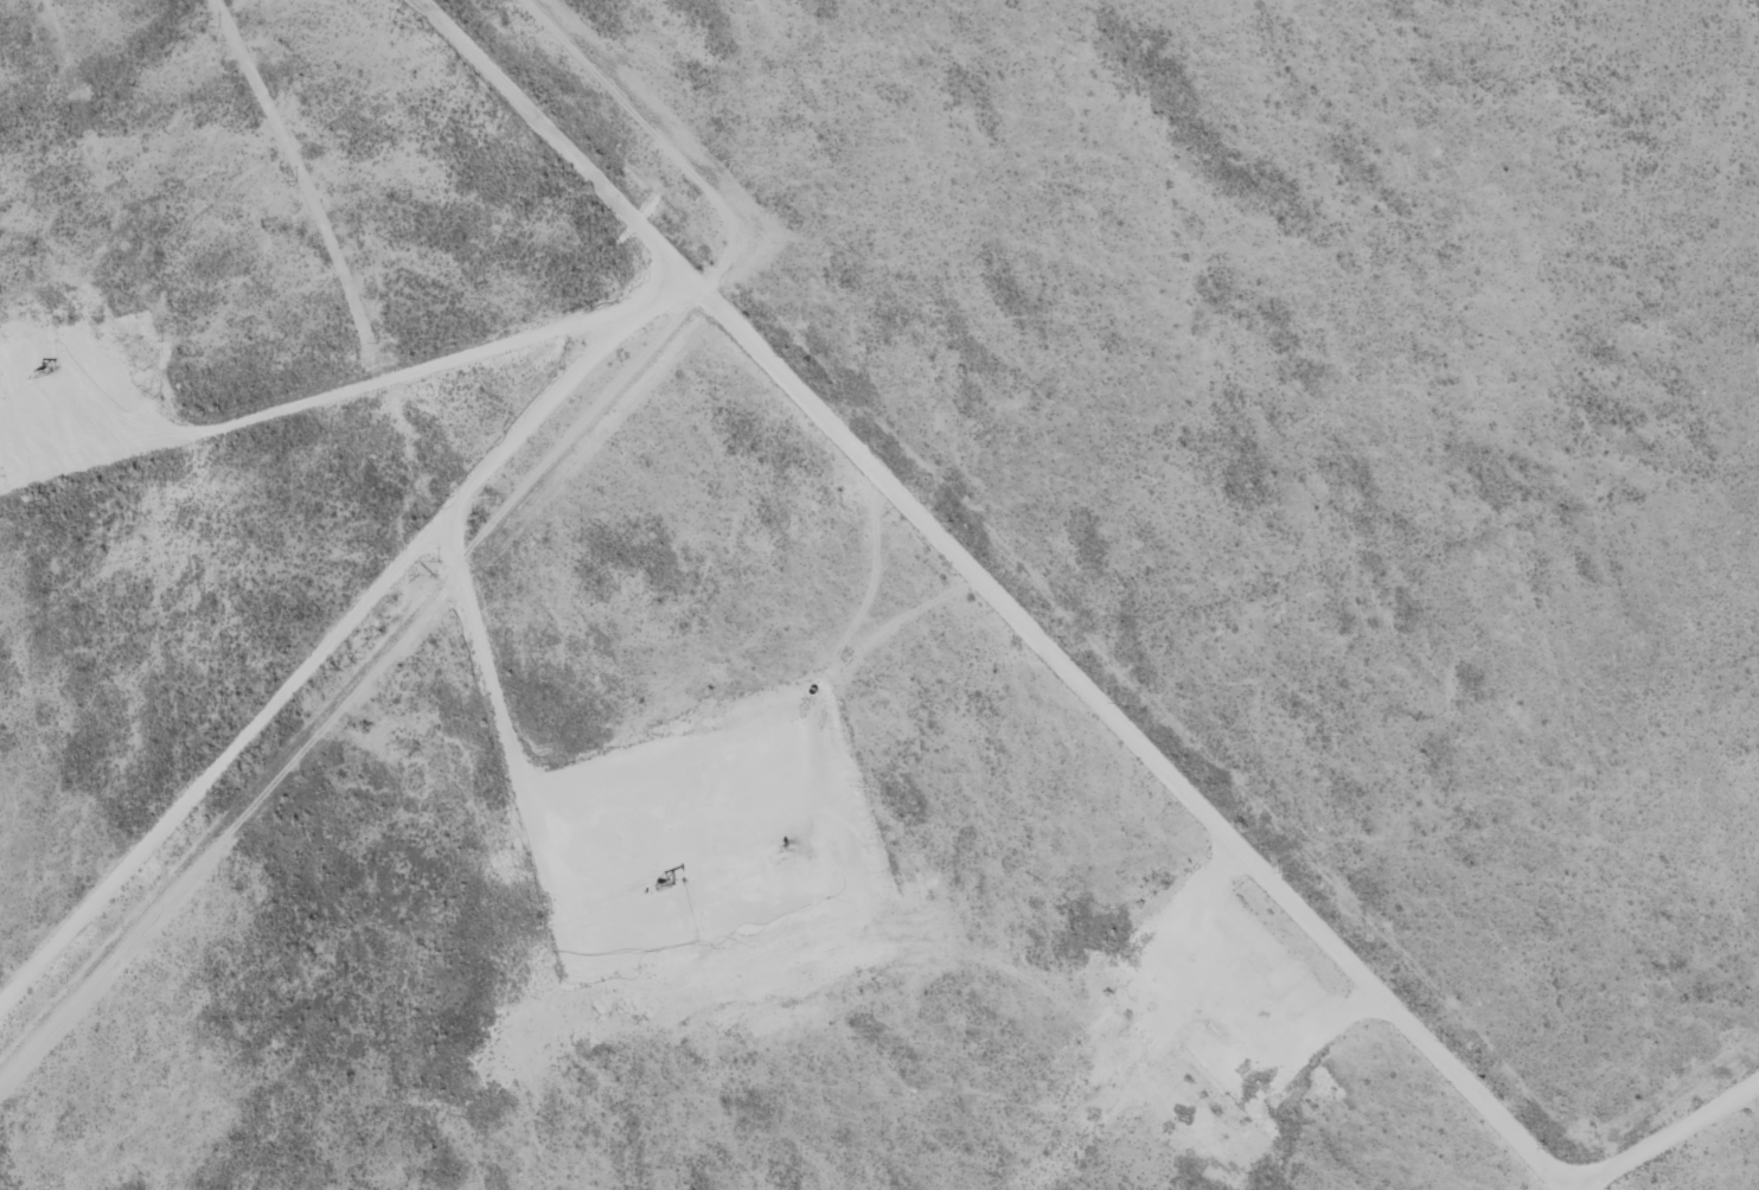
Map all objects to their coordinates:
road: (545, 126)
road: (774, 360)
road: (1659, 1122)

